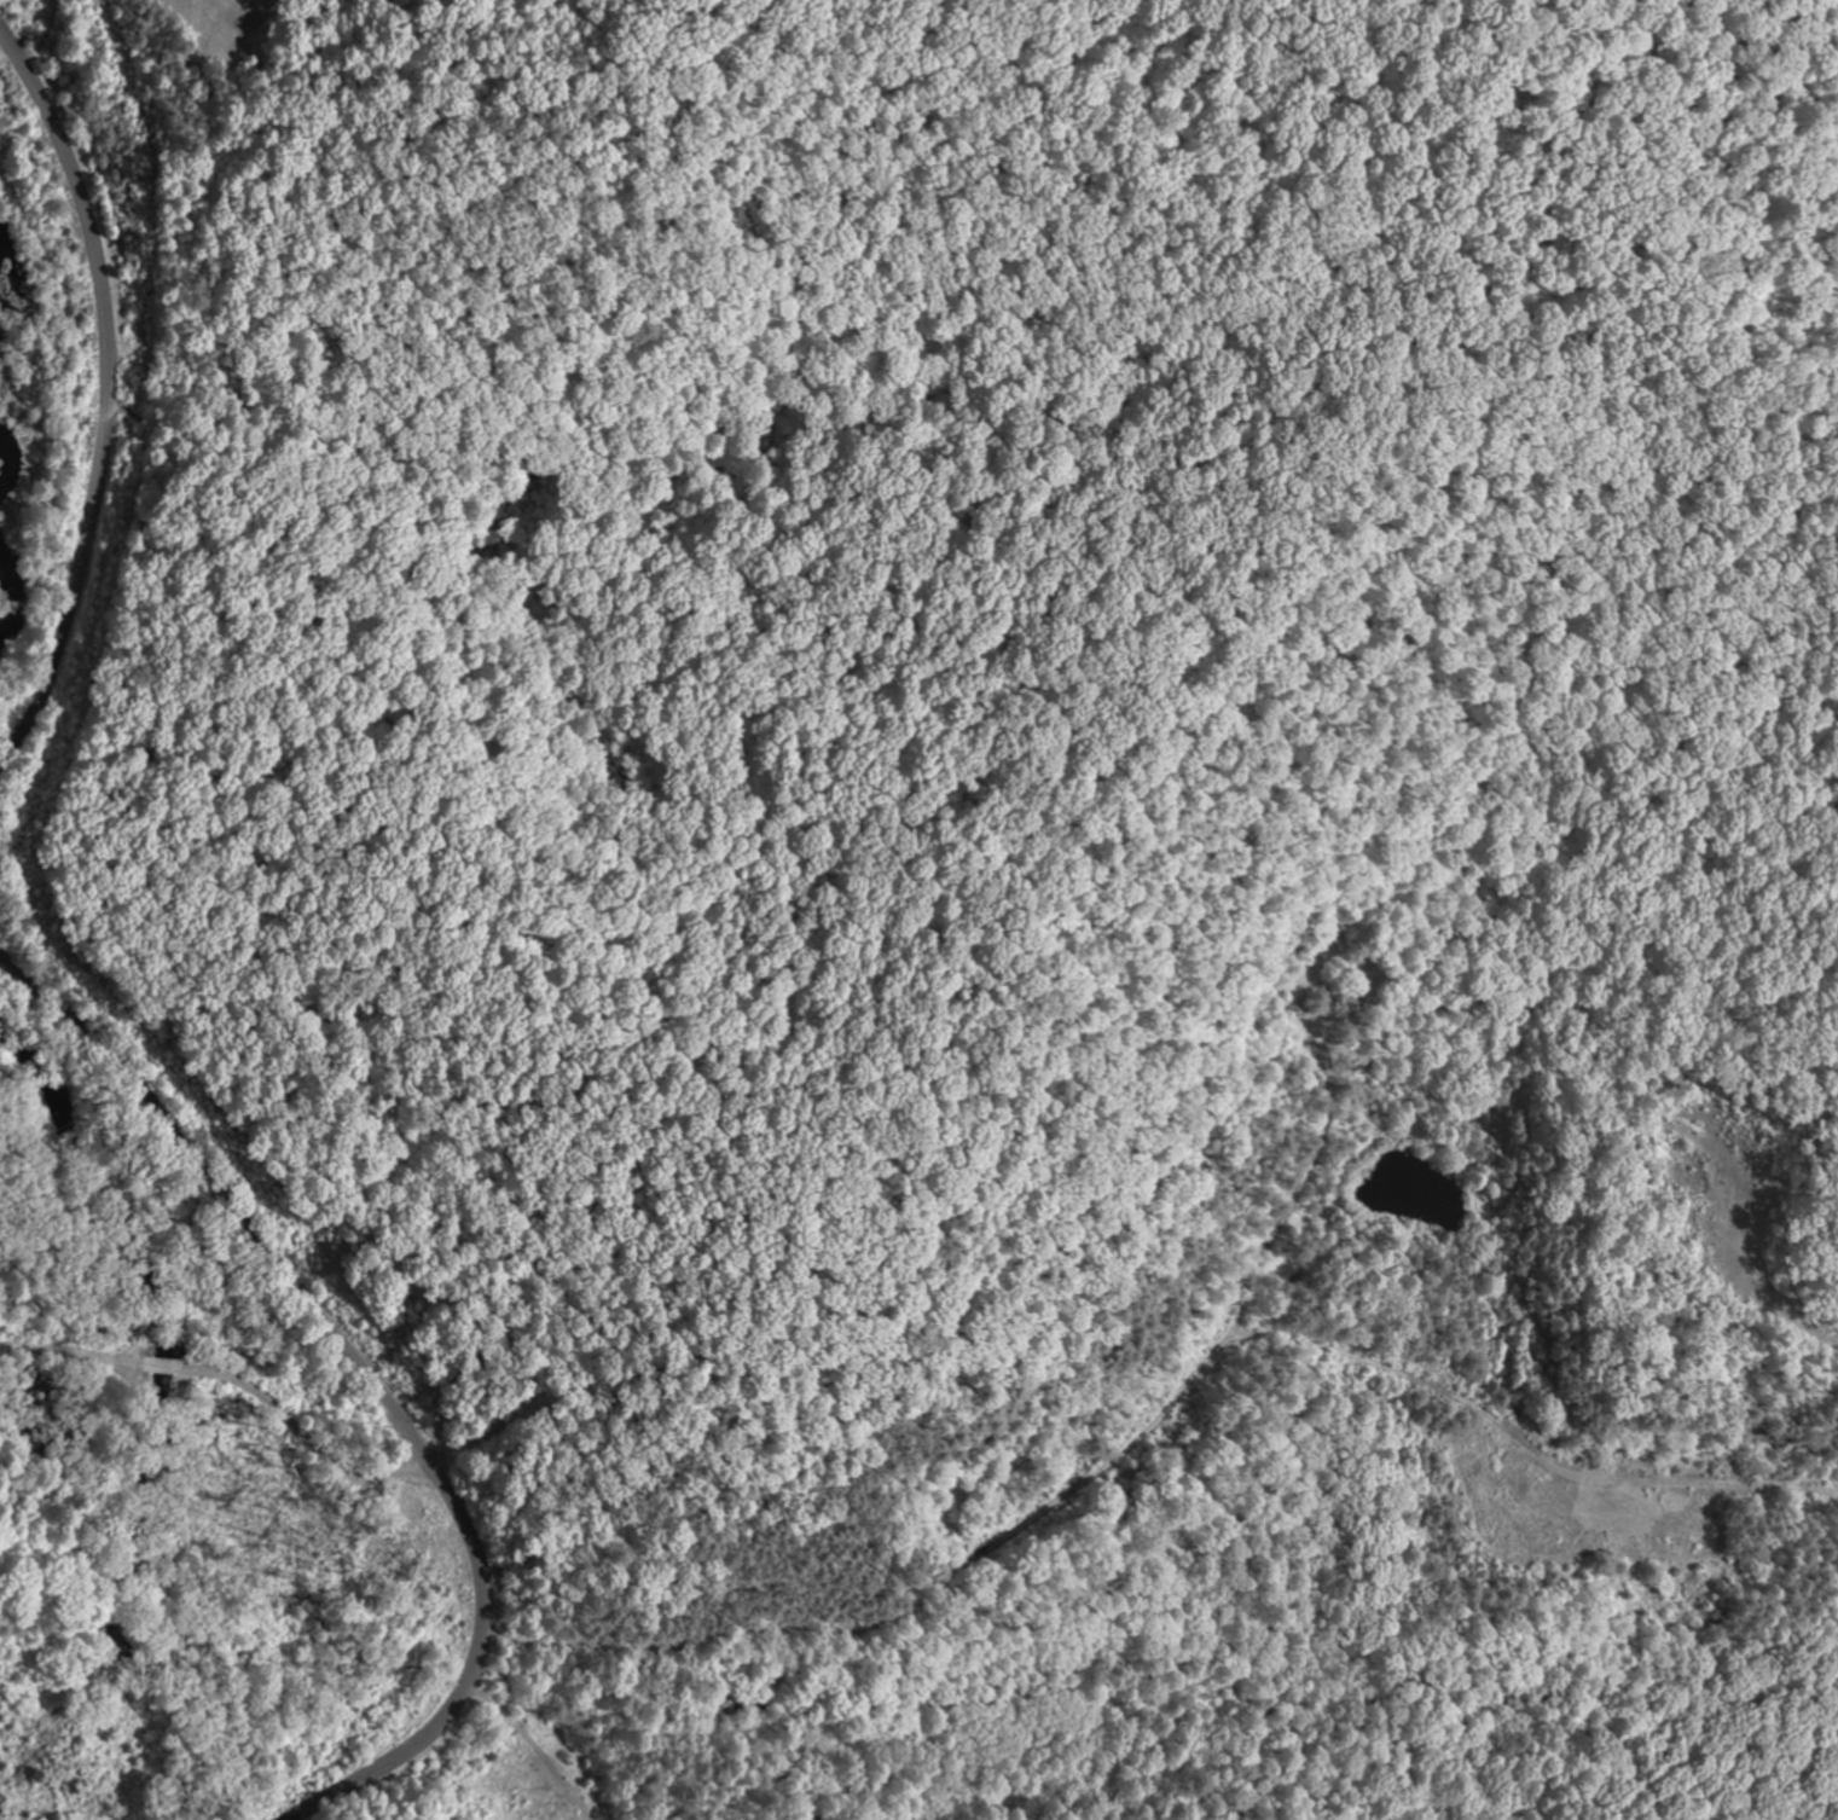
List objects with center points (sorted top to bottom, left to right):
road: (103, 396)
road: (367, 1376)
road: (284, 1378)

